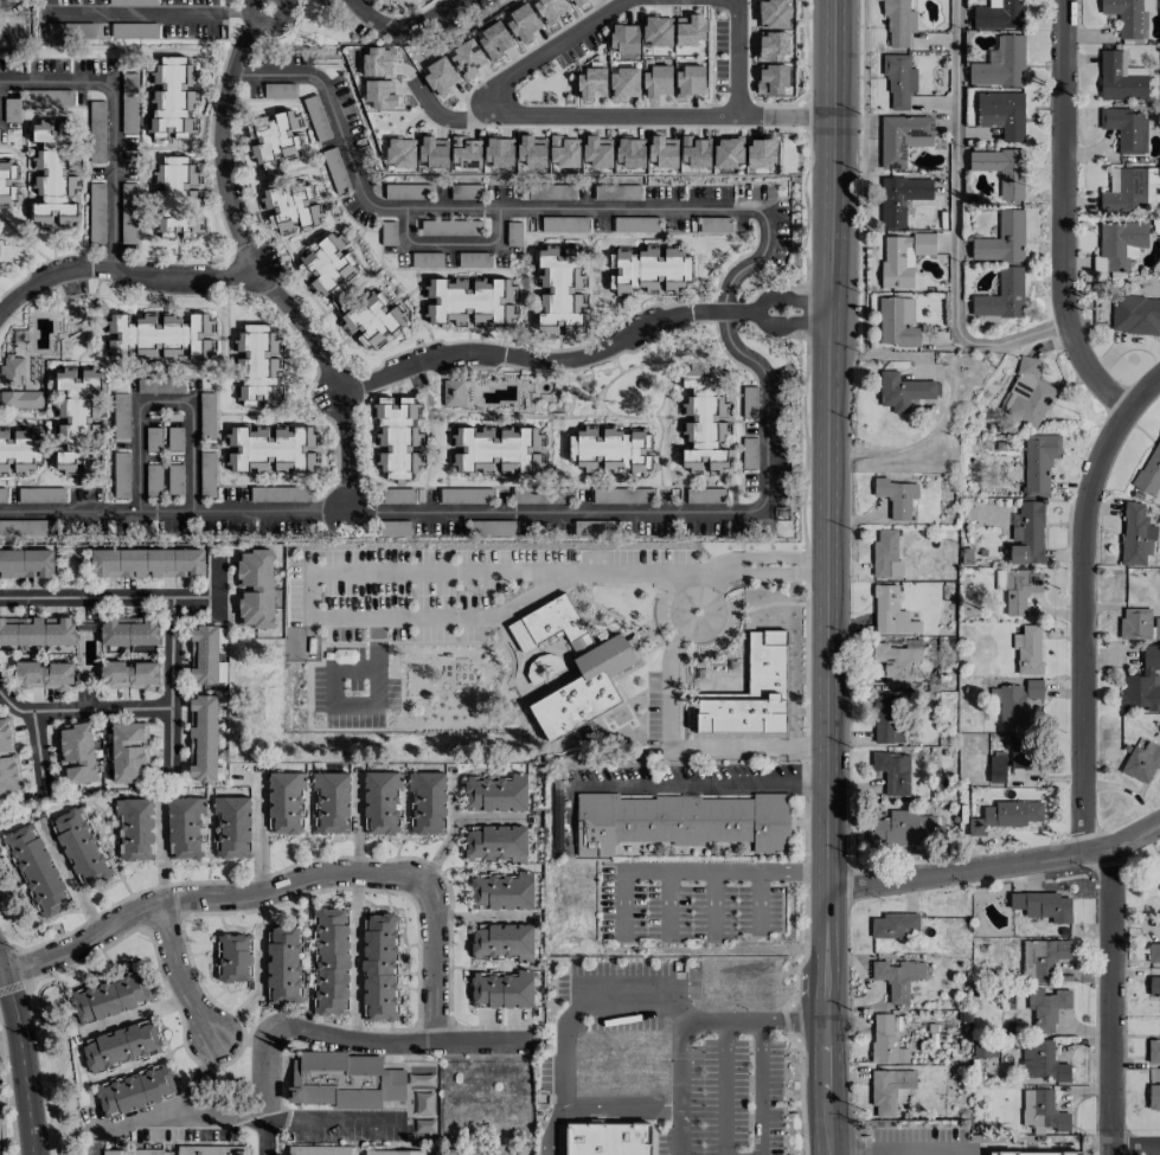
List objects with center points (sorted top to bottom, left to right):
building: (411, 0)
building: (367, 1)
building: (132, 2)
building: (576, 2)
building: (550, 8)
road: (141, 12)
building: (773, 14)
building: (1000, 15)
building: (1128, 15)
building: (521, 23)
building: (898, 23)
road: (267, 25)
road: (400, 25)
building: (656, 30)
building: (690, 30)
road: (249, 34)
building: (623, 38)
building: (494, 40)
building: (775, 46)
building: (467, 56)
road: (737, 57)
building: (376, 62)
building: (1001, 65)
building: (437, 72)
building: (1121, 78)
building: (775, 79)
building: (898, 79)
building: (658, 82)
building: (690, 82)
building: (591, 83)
building: (623, 83)
building: (278, 91)
building: (379, 94)
building: (47, 97)
building: (172, 97)
building: (128, 102)
road: (430, 110)
building: (1002, 114)
road: (518, 115)
road: (784, 115)
building: (316, 117)
road: (109, 122)
building: (1126, 129)
building: (96, 130)
building: (275, 139)
building: (903, 139)
building: (498, 150)
building: (564, 150)
building: (597, 150)
building: (432, 152)
building: (464, 152)
building: (532, 152)
building: (629, 152)
building: (694, 152)
building: (728, 152)
building: (399, 153)
building: (664, 154)
building: (335, 169)
building: (1001, 169)
building: (55, 175)
building: (8, 181)
building: (1128, 188)
building: (406, 192)
building: (464, 192)
building: (624, 192)
building: (175, 198)
building: (901, 198)
building: (289, 205)
road: (504, 206)
building: (96, 213)
building: (128, 213)
road: (1062, 217)
building: (551, 224)
road: (955, 225)
building: (1002, 238)
road: (451, 244)
building: (1119, 245)
building: (903, 257)
building: (427, 259)
building: (473, 259)
building: (327, 267)
building: (651, 269)
road: (225, 272)
building: (559, 290)
building: (1001, 296)
road: (788, 299)
building: (469, 302)
building: (1135, 314)
building: (370, 319)
building: (897, 322)
road: (788, 323)
building: (149, 336)
building: (197, 336)
road: (527, 357)
building: (257, 367)
building: (15, 385)
building: (159, 385)
building: (902, 391)
building: (453, 392)
building: (1028, 393)
road: (162, 404)
building: (206, 415)
building: (78, 417)
building: (120, 417)
building: (704, 419)
building: (1159, 434)
building: (153, 438)
building: (174, 438)
building: (396, 439)
building: (270, 449)
building: (610, 449)
building: (496, 450)
building: (18, 451)
building: (749, 453)
building: (1039, 462)
building: (1149, 473)
building: (206, 474)
building: (121, 475)
building: (153, 480)
building: (174, 480)
building: (396, 494)
building: (622, 494)
building: (23, 495)
building: (704, 495)
building: (896, 496)
road: (171, 512)
road: (541, 514)
building: (23, 528)
building: (487, 530)
building: (1027, 534)
building: (1136, 534)
road: (829, 545)
building: (886, 553)
road: (787, 557)
building: (26, 563)
building: (147, 563)
road: (730, 564)
road: (730, 571)
road: (787, 572)
road: (354, 576)
road: (694, 580)
road: (217, 588)
building: (255, 589)
building: (1019, 590)
road: (108, 595)
building: (890, 612)
building: (1135, 623)
road: (686, 627)
building: (1156, 628)
building: (129, 630)
building: (36, 631)
building: (645, 637)
building: (1030, 650)
building: (204, 654)
building: (892, 663)
building: (602, 669)
building: (129, 674)
building: (43, 675)
building: (1143, 684)
road: (171, 685)
building: (752, 692)
building: (1020, 704)
road: (82, 708)
building: (887, 718)
building: (203, 738)
road: (684, 746)
road: (38, 751)
building: (127, 751)
building: (1021, 752)
building: (76, 753)
building: (6, 756)
road: (1082, 762)
building: (1141, 762)
building: (996, 769)
building: (892, 771)
road: (700, 782)
building: (496, 794)
building: (286, 802)
building: (332, 802)
building: (382, 802)
building: (428, 802)
building: (1005, 815)
building: (681, 821)
building: (232, 826)
building: (903, 827)
building: (135, 828)
building: (185, 828)
road: (446, 835)
building: (496, 843)
road: (995, 865)
building: (38, 871)
road: (692, 871)
building: (1158, 878)
road: (70, 883)
building: (502, 891)
road: (760, 900)
road: (210, 901)
road: (669, 901)
road: (713, 903)
building: (1043, 905)
building: (895, 925)
building: (504, 941)
building: (1154, 952)
building: (235, 958)
road: (354, 960)
building: (1043, 960)
building: (331, 962)
building: (283, 964)
road: (434, 964)
building: (379, 967)
road: (2, 973)
road: (181, 977)
building: (898, 977)
building: (1154, 987)
building: (501, 988)
building: (110, 997)
road: (578, 1006)
building: (1046, 1007)
road: (794, 1018)
road: (355, 1042)
building: (886, 1042)
road: (678, 1045)
building: (121, 1046)
building: (985, 1050)
building: (1154, 1052)
road: (20, 1058)
building: (1043, 1061)
building: (344, 1082)
road: (724, 1086)
road: (761, 1086)
building: (891, 1090)
building: (136, 1091)
building: (1154, 1098)
road: (174, 1105)
road: (602, 1109)
road: (661, 1110)
building: (1043, 1111)
road: (214, 1114)
road: (329, 1117)
road: (600, 1118)
road: (827, 1122)
road: (264, 1135)
road: (550, 1137)
building: (609, 1138)
road: (858, 1148)
road: (930, 1149)
building: (212, 1150)
building: (319, 1150)
building: (132, 1151)
road: (886, 1151)
road: (1135, 1151)
building: (393, 1153)
building: (1032, 1153)

